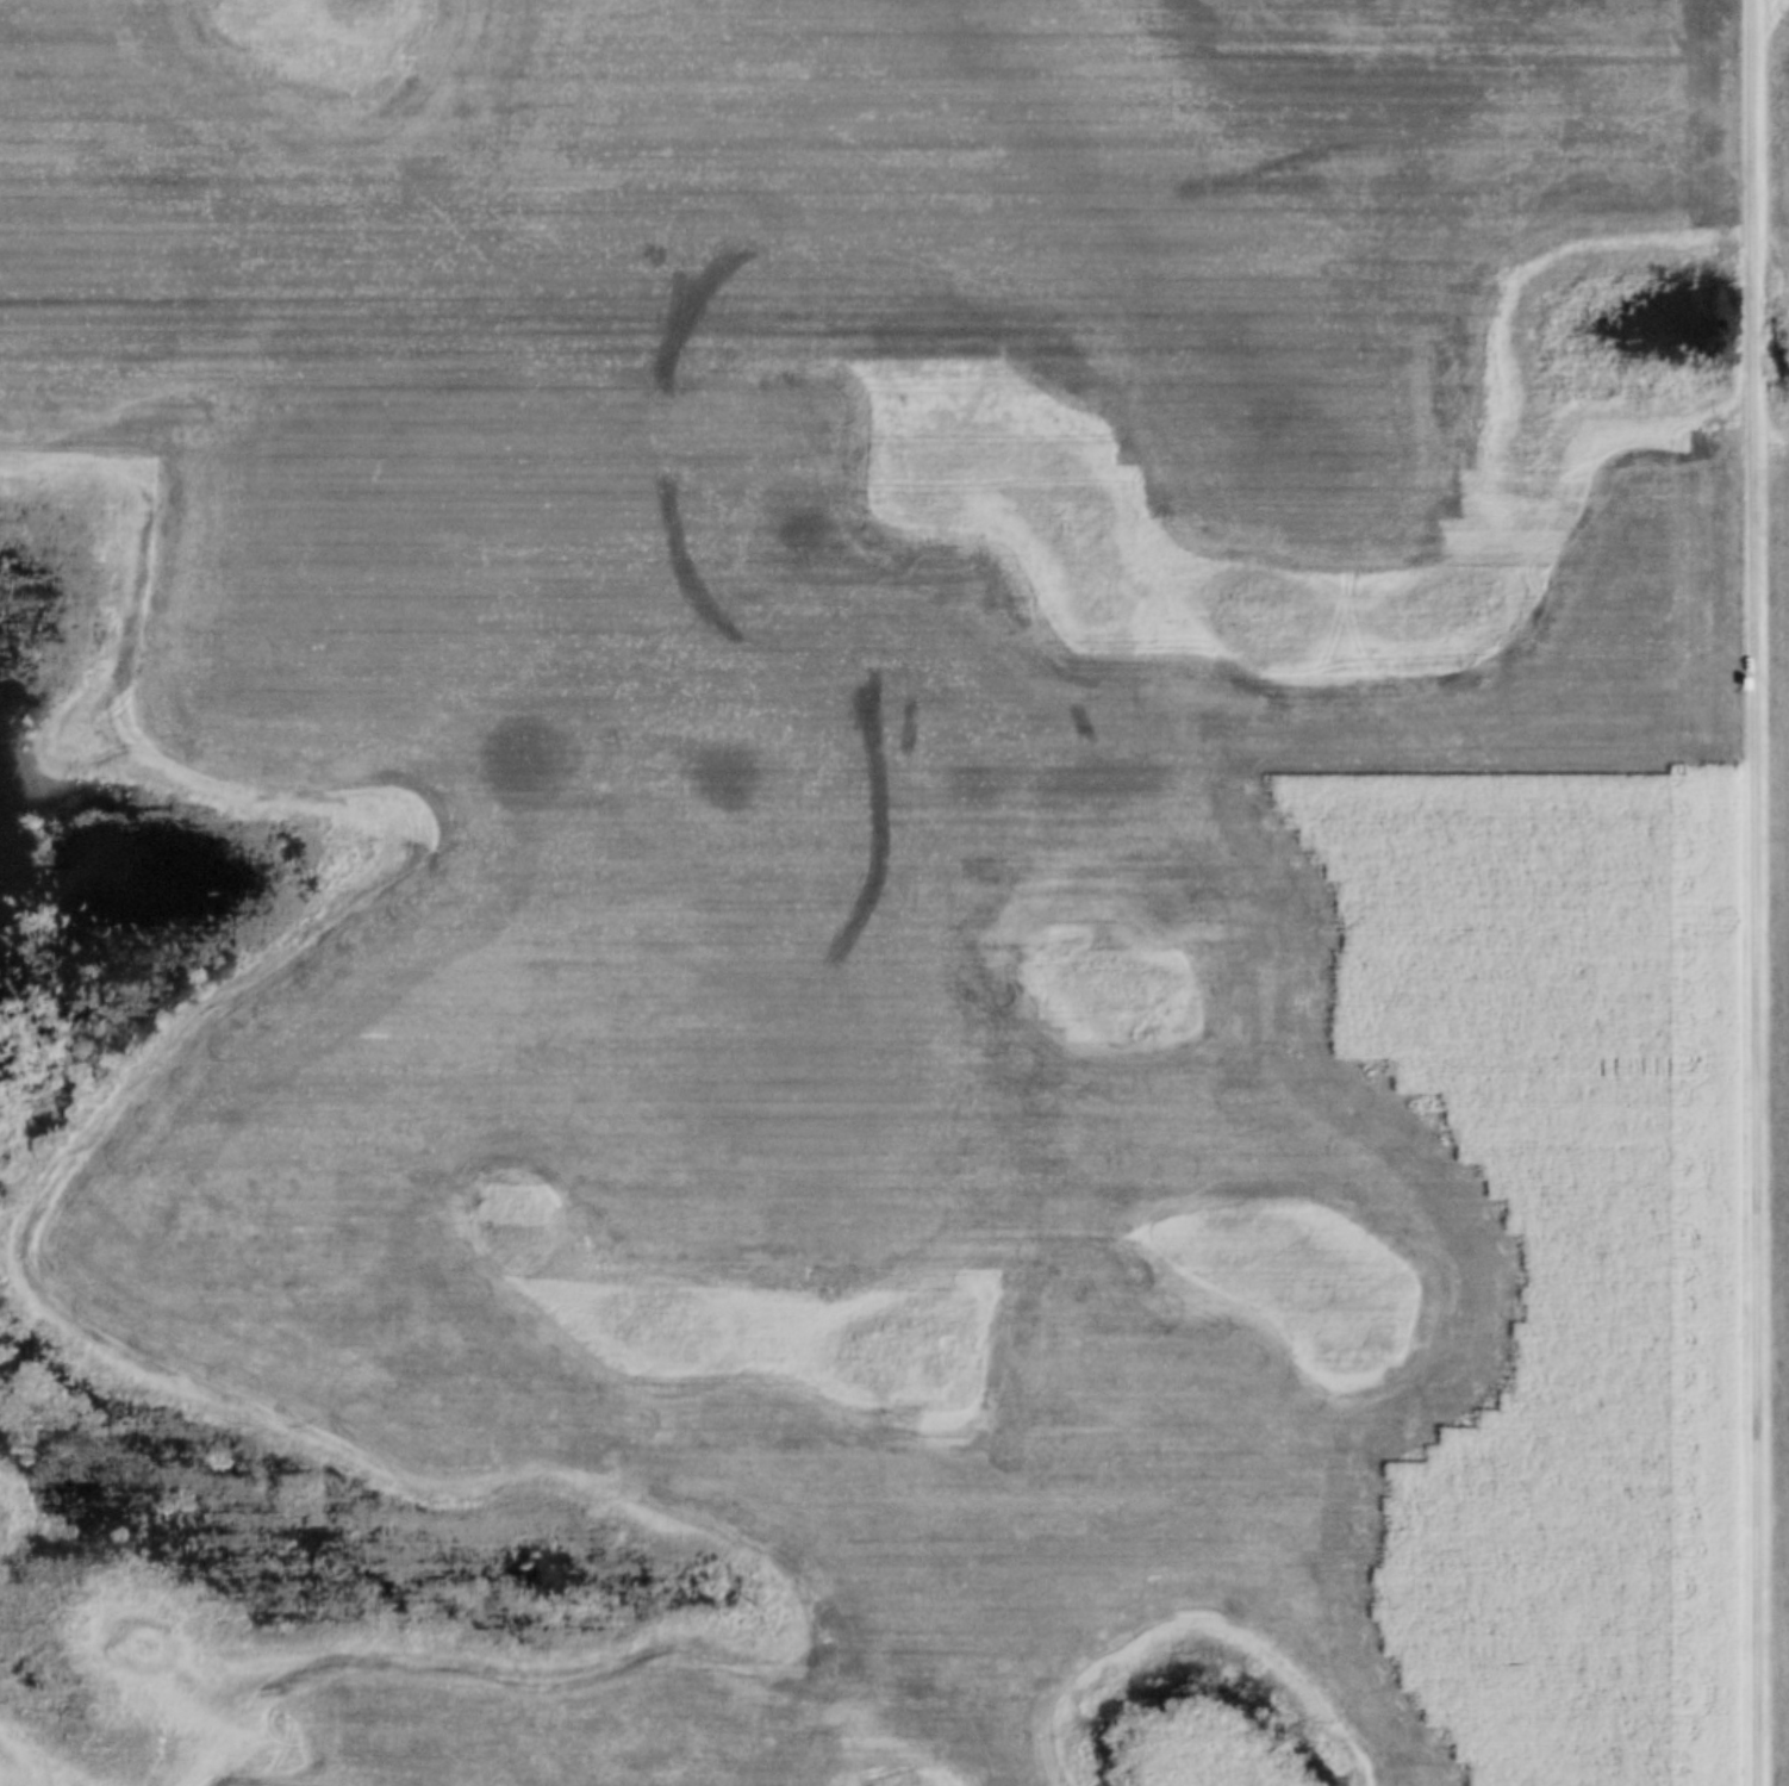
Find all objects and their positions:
road: (1762, 892)

